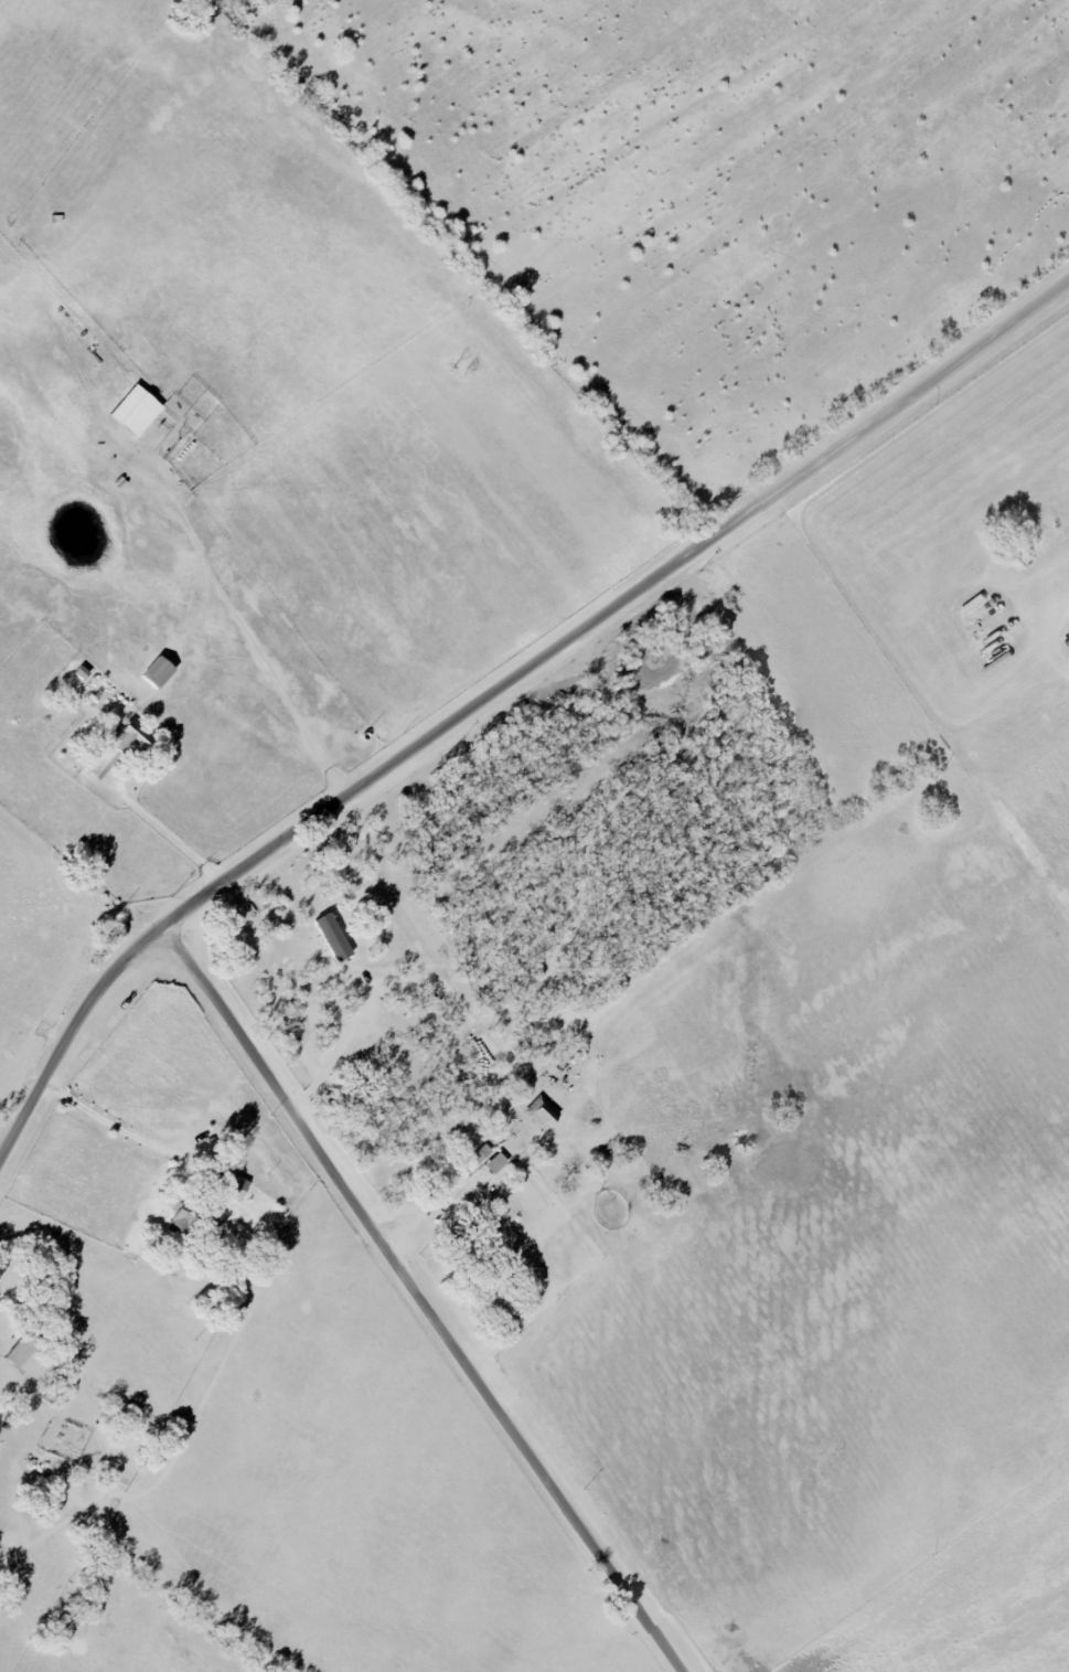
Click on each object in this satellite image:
building: (161, 672)
road: (490, 685)
building: (118, 749)
road: (170, 828)
road: (185, 929)
building: (335, 937)
road: (162, 955)
road: (345, 1040)
building: (544, 1112)
road: (109, 1128)
building: (236, 1186)
building: (182, 1221)
road: (439, 1314)

